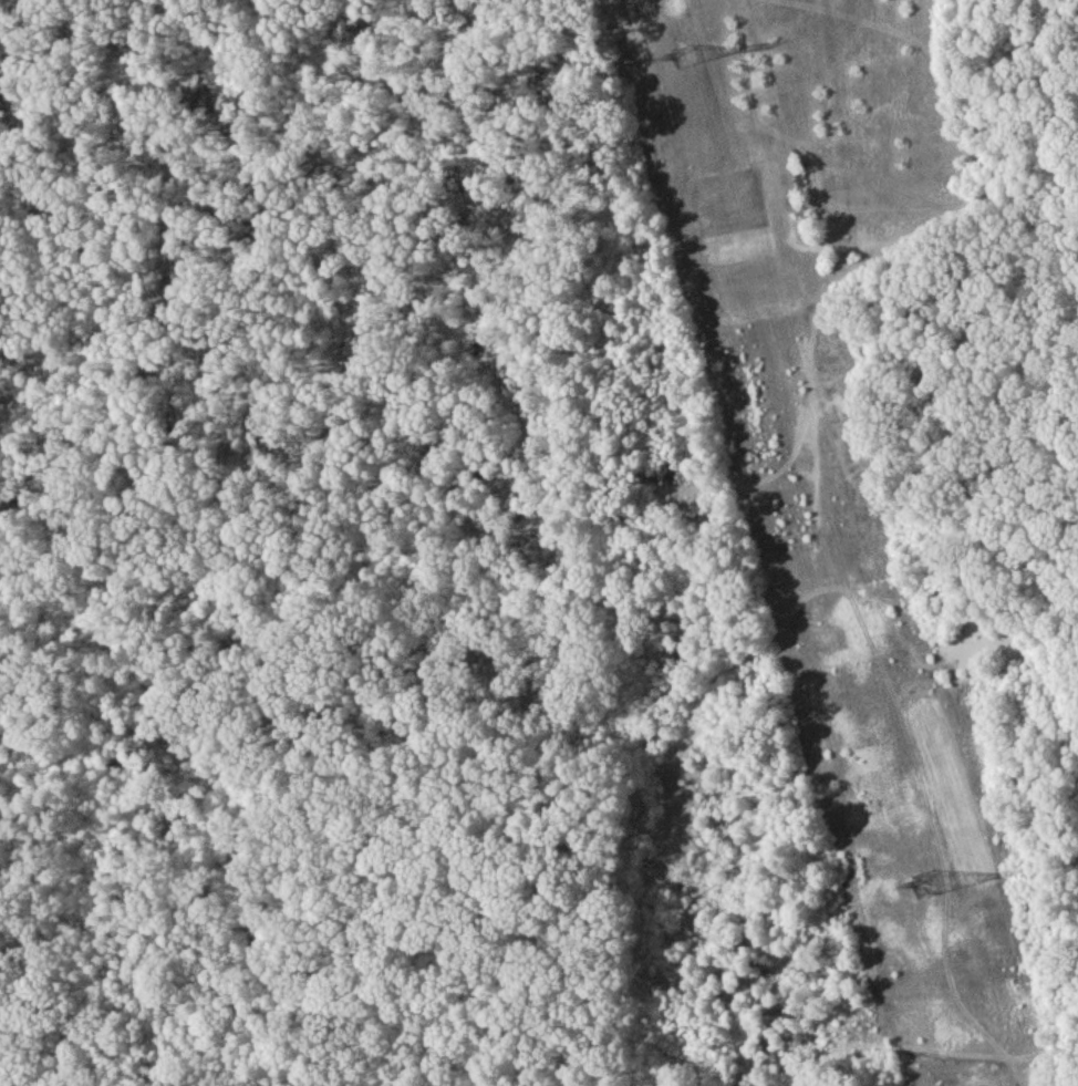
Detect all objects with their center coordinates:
power tower: (682, 60)
power tower: (926, 887)

